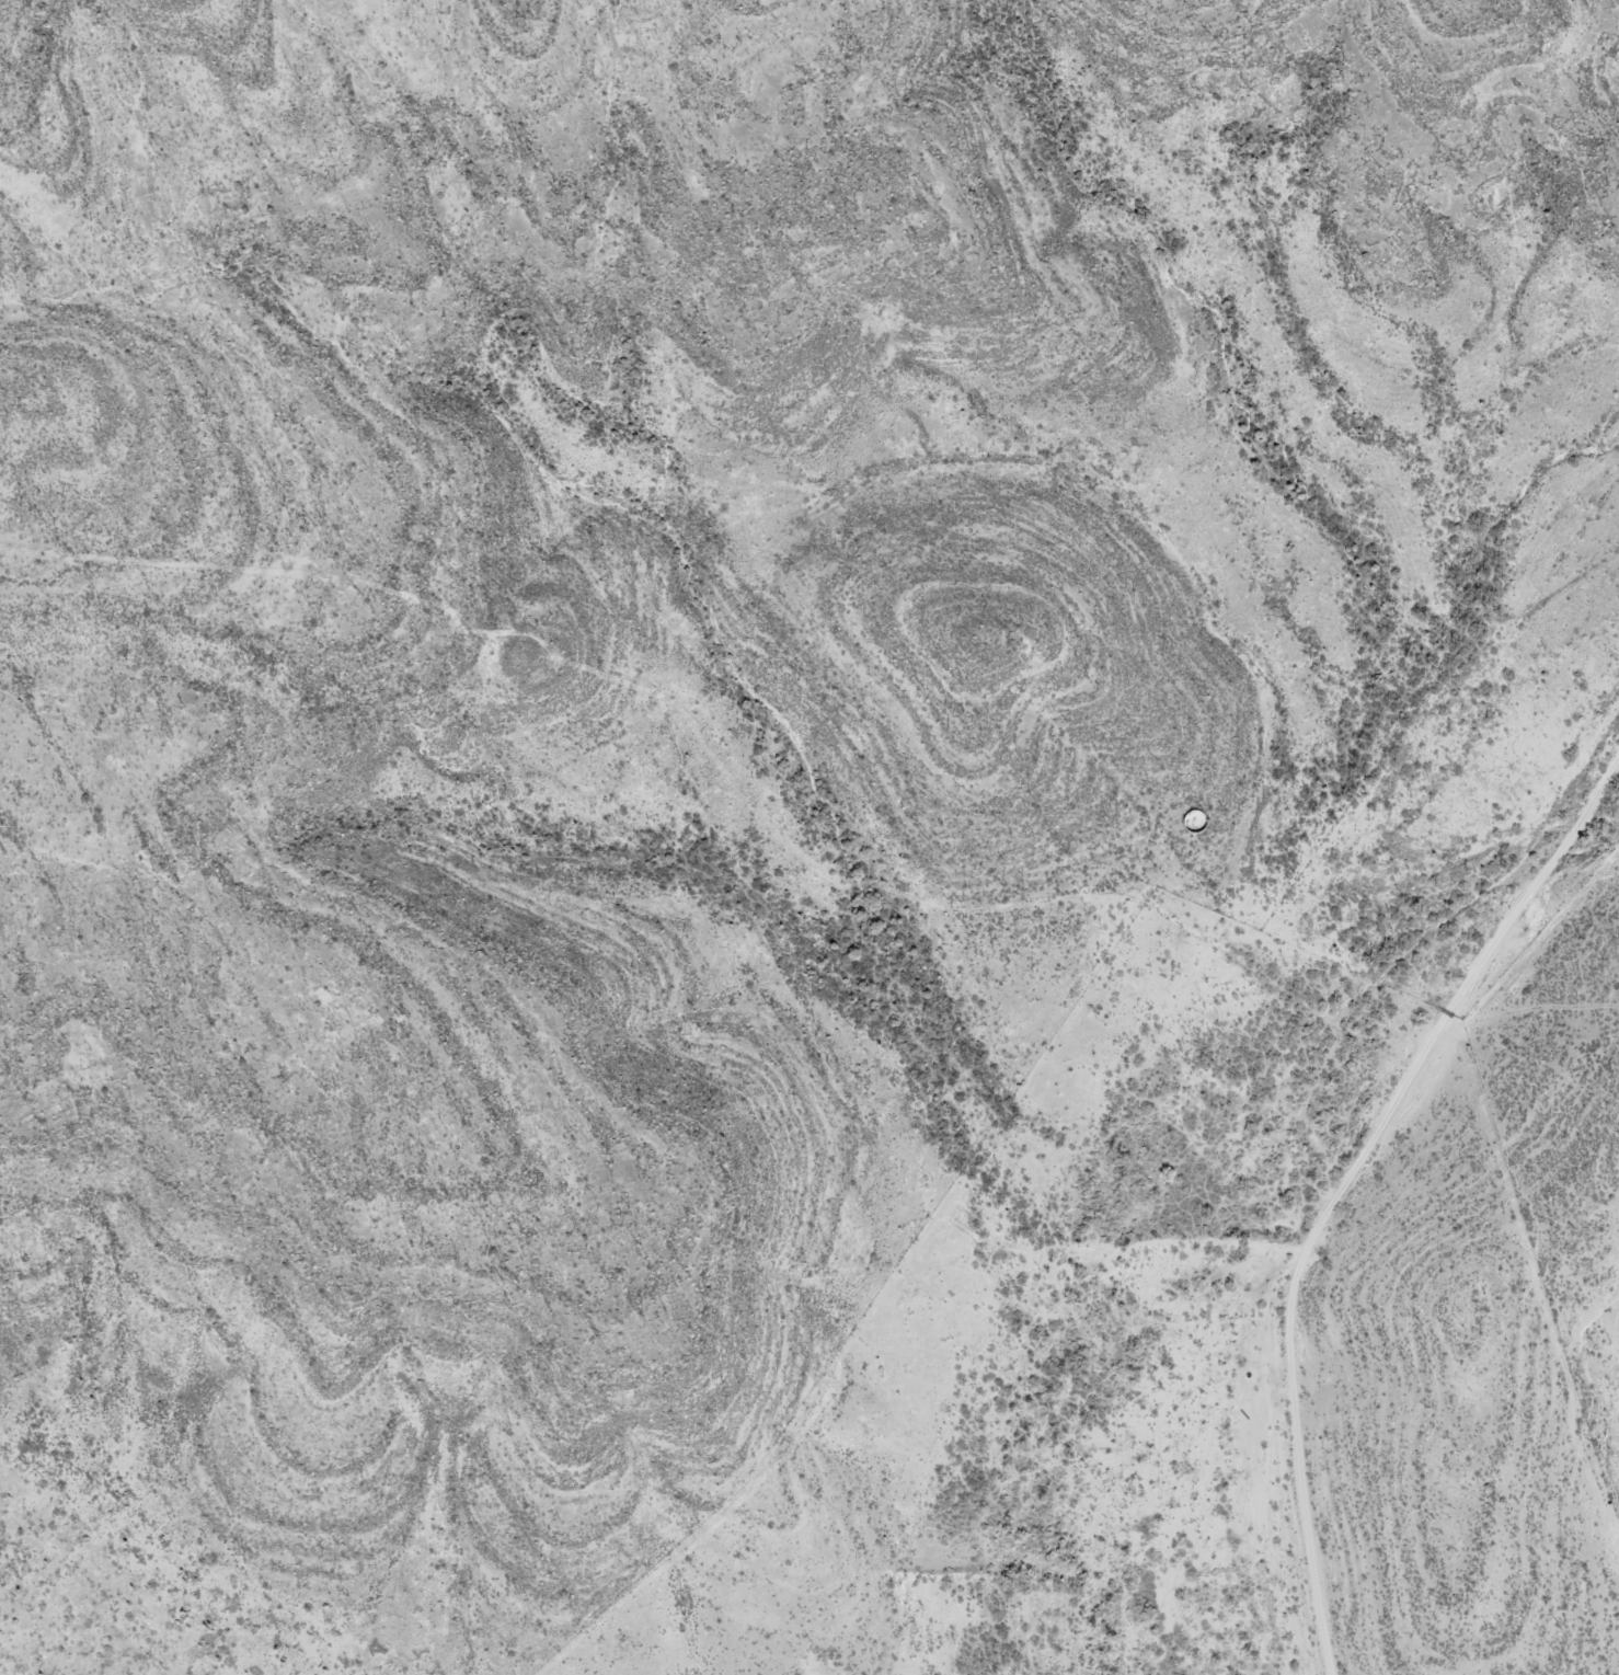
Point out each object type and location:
road: (1368, 1190)

